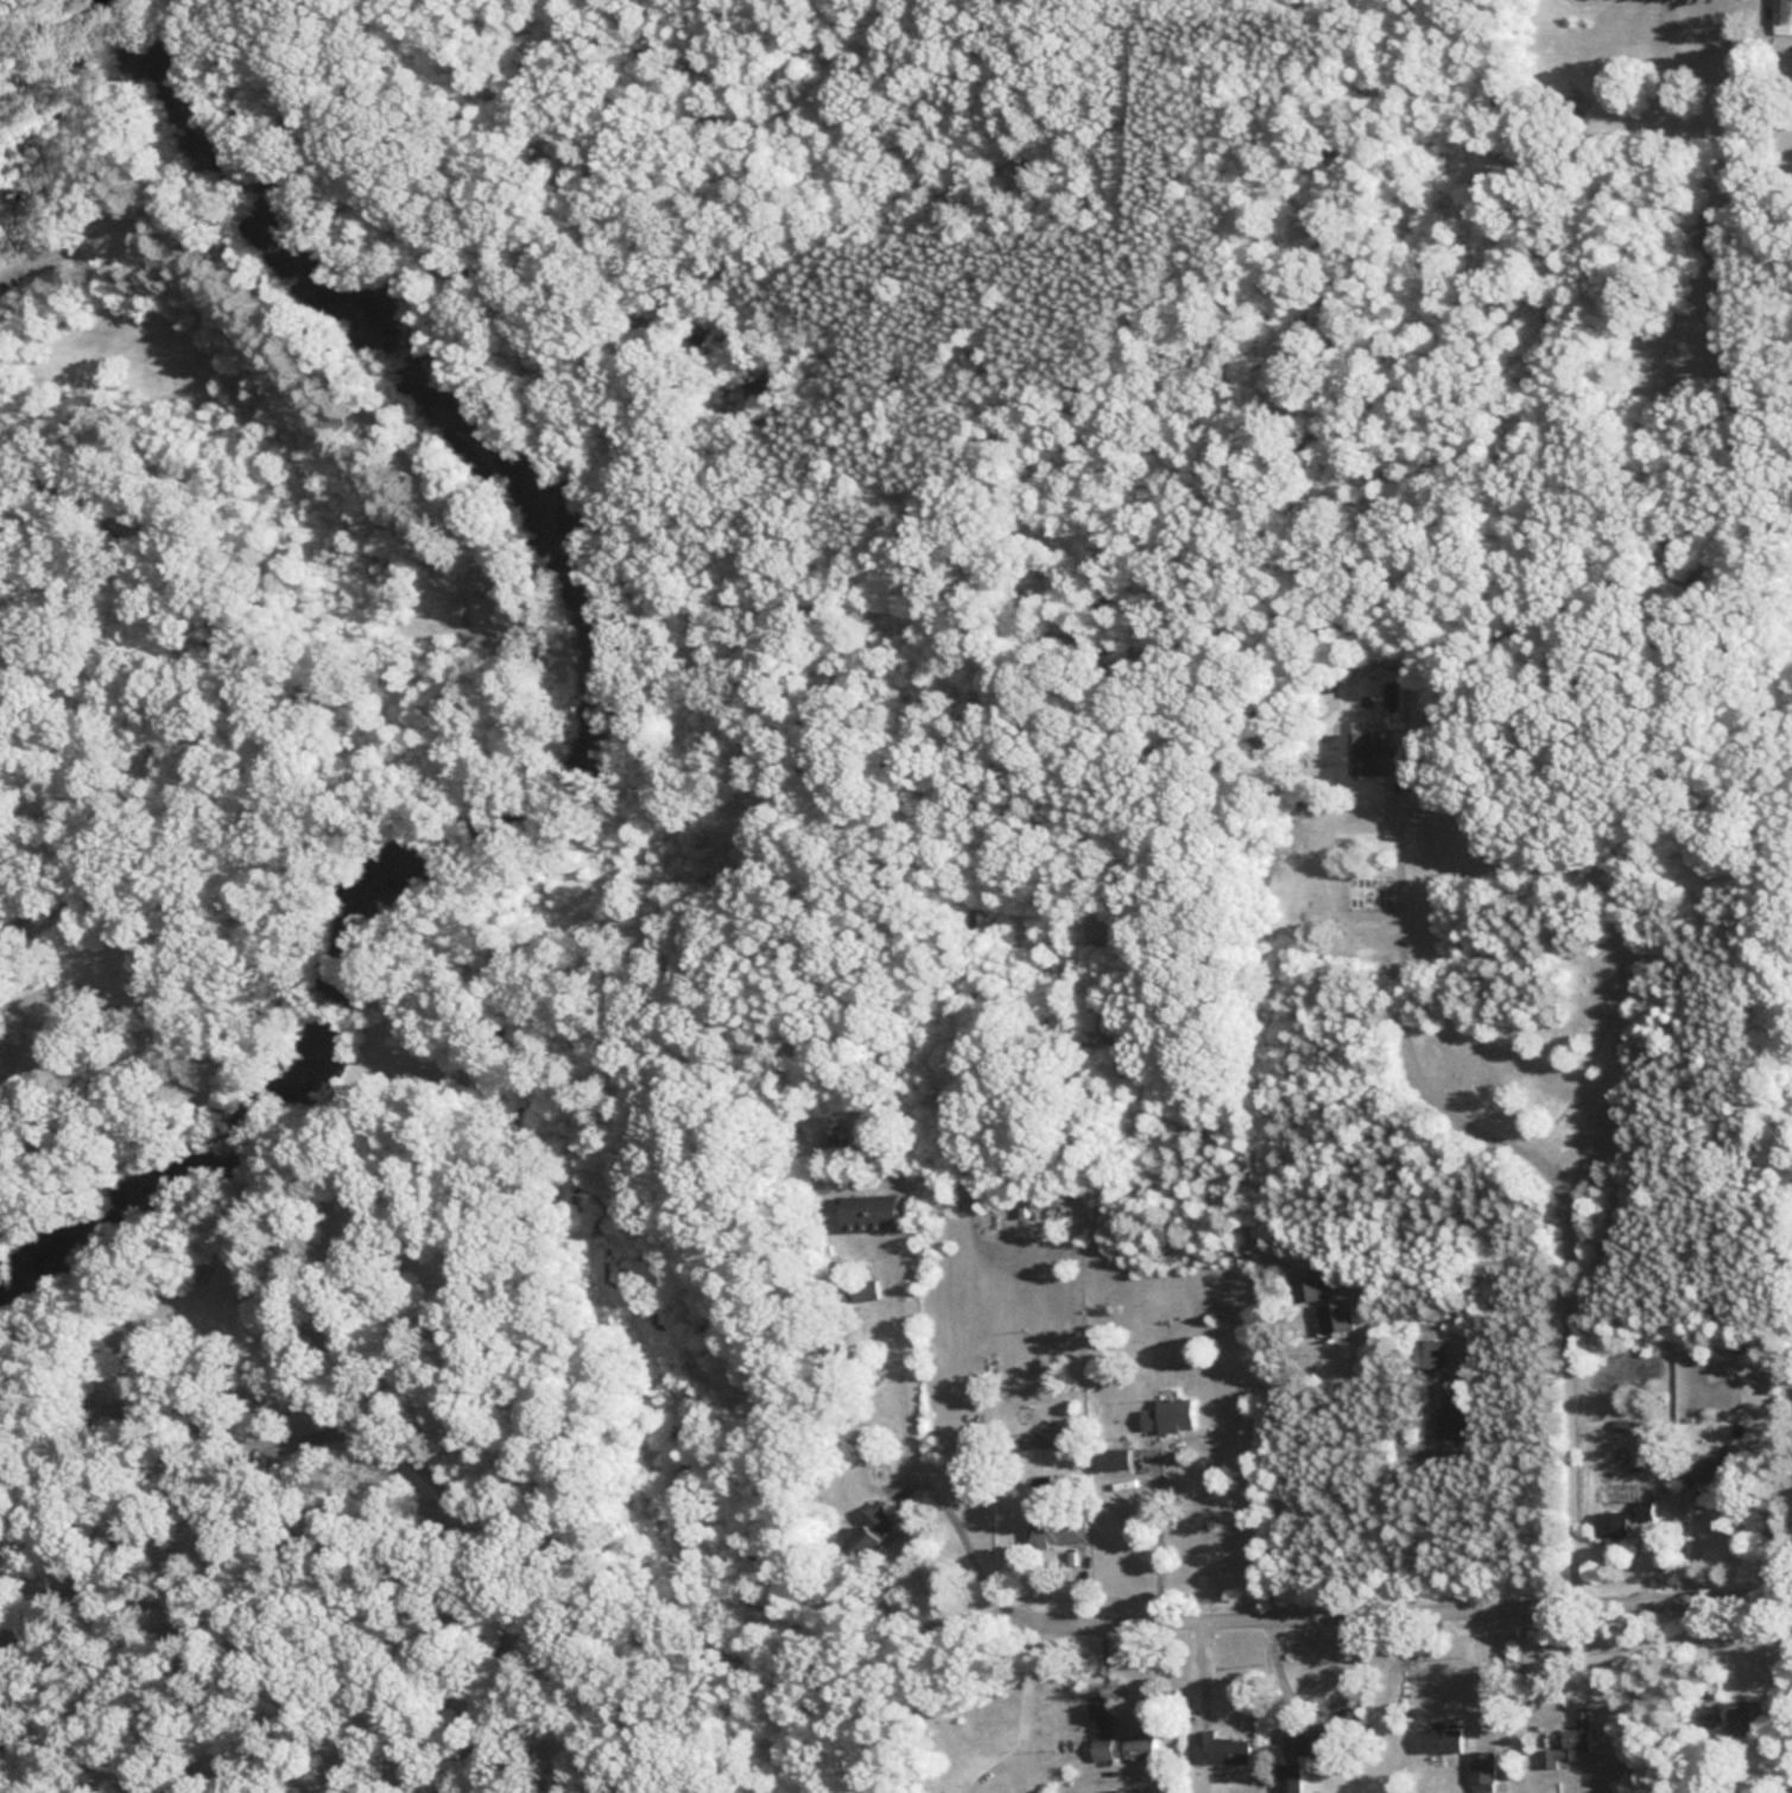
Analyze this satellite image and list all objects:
building: (1782, 13)
road: (83, 243)
road: (454, 614)
road: (518, 647)
river: (582, 708)
building: (1373, 756)
park: (426, 911)
road: (112, 1040)
road: (226, 1121)
road: (1545, 1170)
building: (873, 1214)
road: (109, 1255)
building: (1309, 1286)
road: (219, 1311)
building: (1335, 1318)
building: (1429, 1347)
building: (1455, 1413)
building: (1170, 1415)
road: (1271, 1457)
building: (1113, 1459)
building: (1711, 1466)
road: (438, 1485)
road: (945, 1513)
road: (1395, 1516)
building: (1622, 1520)
building: (1052, 1525)
building: (874, 1531)
road: (1158, 1539)
road: (71, 1585)
road: (1469, 1607)
road: (1475, 1670)
road: (11, 1671)
road: (1284, 1678)
road: (11, 1690)
road: (1026, 1704)
building: (1706, 1716)
building: (1744, 1716)
building: (1439, 1741)
building: (1569, 1741)
building: (1321, 1742)
building: (1125, 1748)
building: (1221, 1749)
building: (1482, 1772)
building: (1290, 1778)
building: (1119, 1791)

